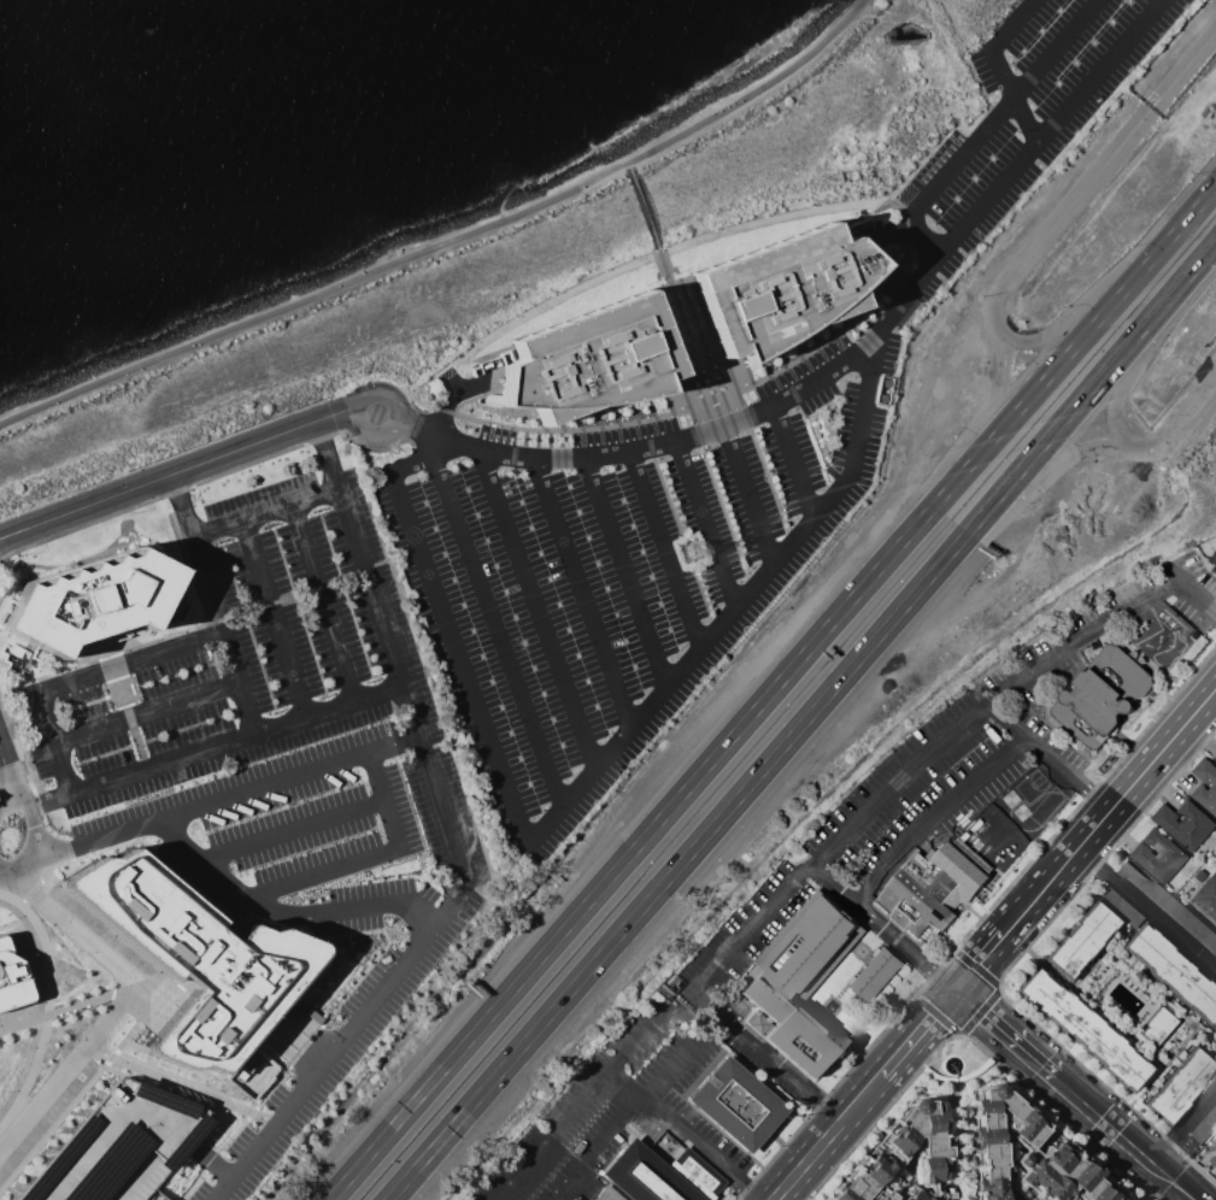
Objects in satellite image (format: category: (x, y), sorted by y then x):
road: (1012, 25)
road: (1014, 96)
road: (986, 125)
road: (629, 166)
road: (1012, 171)
road: (1093, 180)
road: (646, 212)
road: (640, 263)
building: (792, 288)
road: (1083, 314)
building: (584, 361)
road: (1133, 361)
road: (380, 393)
road: (991, 424)
road: (1183, 427)
road: (416, 428)
road: (370, 436)
road: (662, 449)
road: (417, 463)
road: (793, 465)
road: (1042, 466)
road: (176, 475)
road: (219, 475)
parking lot: (707, 475)
road: (750, 498)
road: (262, 508)
road: (706, 527)
road: (664, 552)
power tower: (694, 552)
building: (1212, 560)
road: (627, 572)
road: (583, 593)
building: (89, 599)
road: (322, 602)
road: (539, 611)
road: (274, 618)
road: (497, 633)
road: (77, 677)
road: (235, 681)
road: (773, 693)
building: (1102, 695)
road: (143, 711)
road: (805, 724)
road: (1034, 741)
road: (933, 747)
road: (607, 753)
road: (17, 754)
building: (1215, 757)
road: (328, 764)
road: (137, 765)
road: (6, 769)
building: (1205, 784)
road: (6, 794)
road: (1097, 794)
road: (1085, 795)
road: (30, 819)
road: (940, 819)
building: (1185, 823)
road: (292, 829)
road: (1085, 837)
road: (453, 847)
building: (1158, 854)
road: (20, 860)
road: (833, 883)
building: (936, 884)
building: (1208, 896)
road: (1147, 905)
road: (282, 913)
building: (1080, 940)
road: (904, 947)
building: (193, 957)
road: (1008, 966)
building: (876, 973)
building: (1171, 973)
building: (12, 980)
building: (801, 981)
road: (119, 995)
road: (45, 1005)
road: (977, 1011)
building: (1155, 1025)
building: (1081, 1029)
road: (914, 1034)
road: (751, 1048)
road: (627, 1051)
building: (251, 1073)
road: (844, 1073)
road: (174, 1083)
building: (1177, 1086)
road: (1074, 1094)
building: (766, 1105)
road: (826, 1114)
road: (879, 1114)
road: (1056, 1116)
road: (1182, 1123)
road: (676, 1130)
road: (821, 1137)
building: (118, 1147)
road: (593, 1147)
building: (897, 1152)
building: (1023, 1157)
building: (1214, 1160)
building: (660, 1172)
building: (606, 1194)
road: (752, 1194)
building: (911, 1195)

